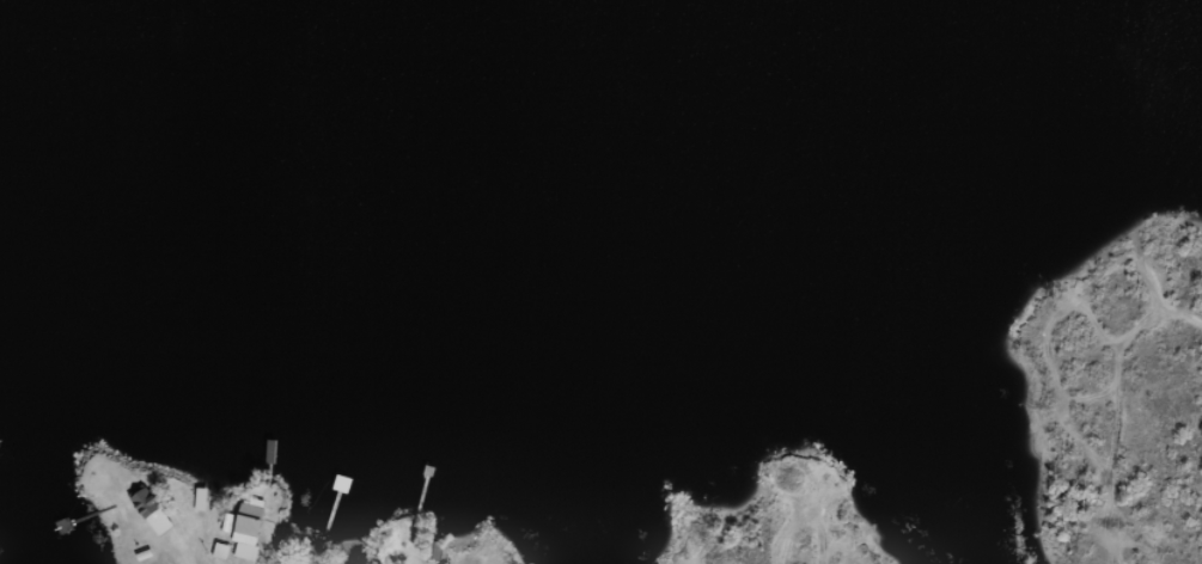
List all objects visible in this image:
building: (148, 509)
building: (240, 533)
building: (431, 548)

